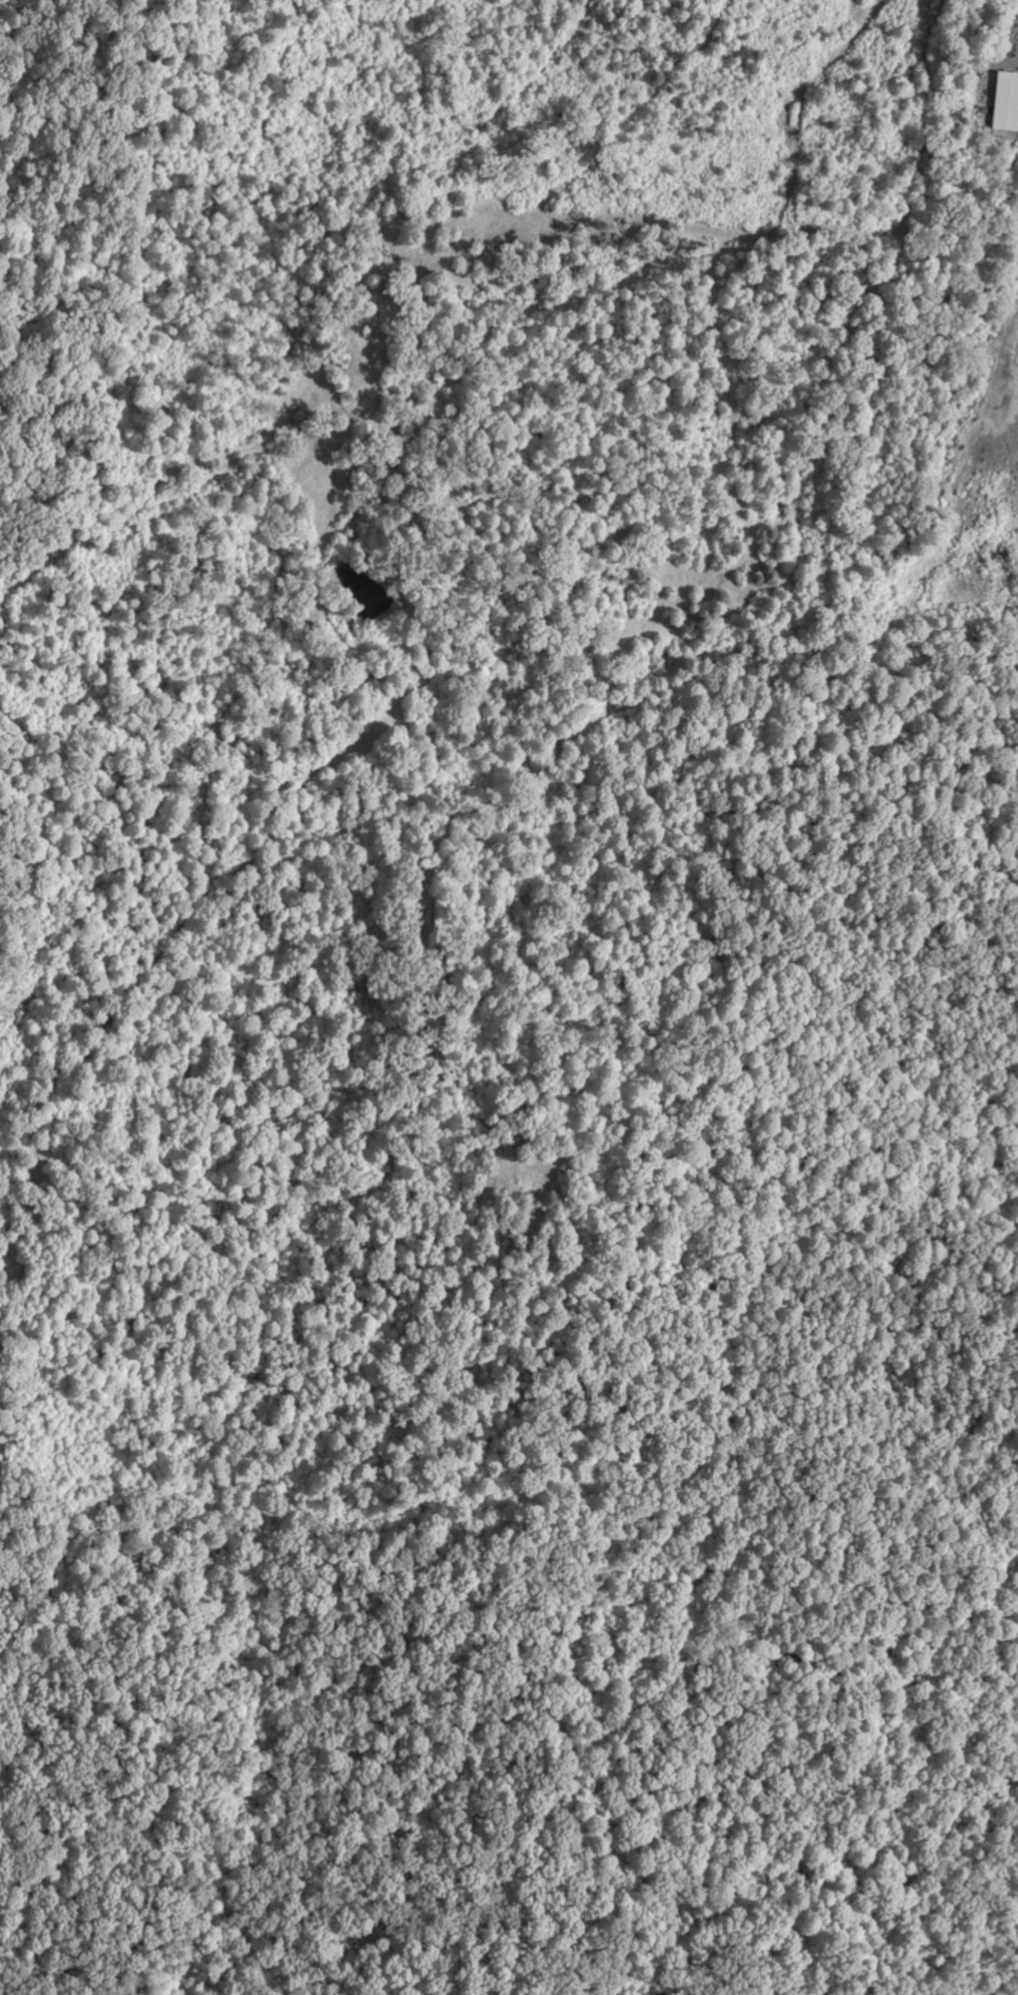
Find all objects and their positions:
building: (1007, 101)
road: (778, 1841)

